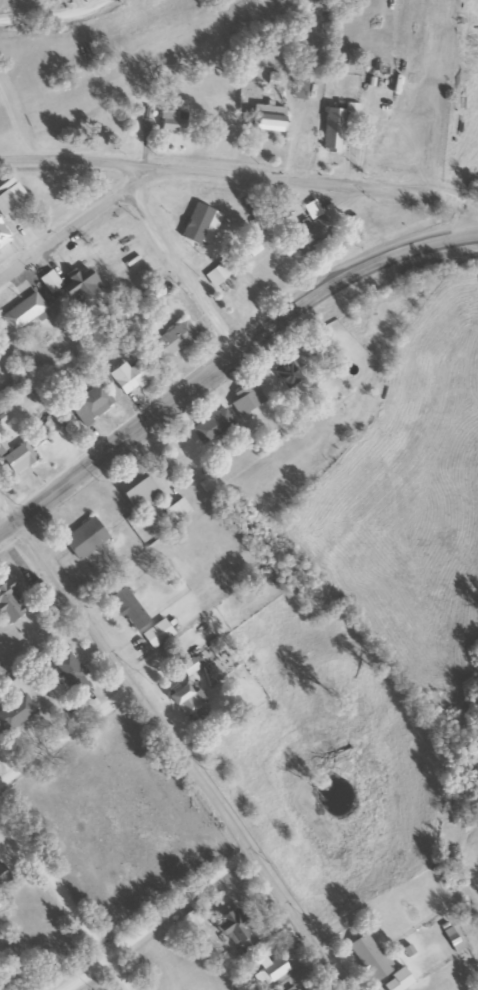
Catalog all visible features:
road: (53, 13)
railway: (134, 58)
building: (299, 87)
building: (350, 113)
building: (266, 117)
building: (172, 120)
building: (331, 130)
road: (251, 174)
road: (82, 222)
building: (2, 234)
building: (308, 234)
road: (474, 235)
road: (183, 270)
road: (346, 277)
building: (79, 283)
building: (229, 290)
building: (22, 312)
building: (170, 342)
building: (291, 366)
building: (126, 376)
building: (245, 399)
building: (90, 404)
building: (211, 426)
road: (117, 439)
building: (2, 448)
building: (17, 458)
building: (138, 493)
building: (176, 509)
building: (83, 538)
building: (7, 602)
building: (128, 609)
building: (156, 634)
building: (188, 667)
building: (70, 673)
building: (187, 705)
building: (15, 713)
road: (65, 737)
road: (173, 746)
building: (3, 873)
road: (66, 899)
road: (156, 920)
building: (234, 929)
building: (450, 940)
building: (367, 957)
building: (268, 972)
building: (395, 981)
building: (298, 989)

